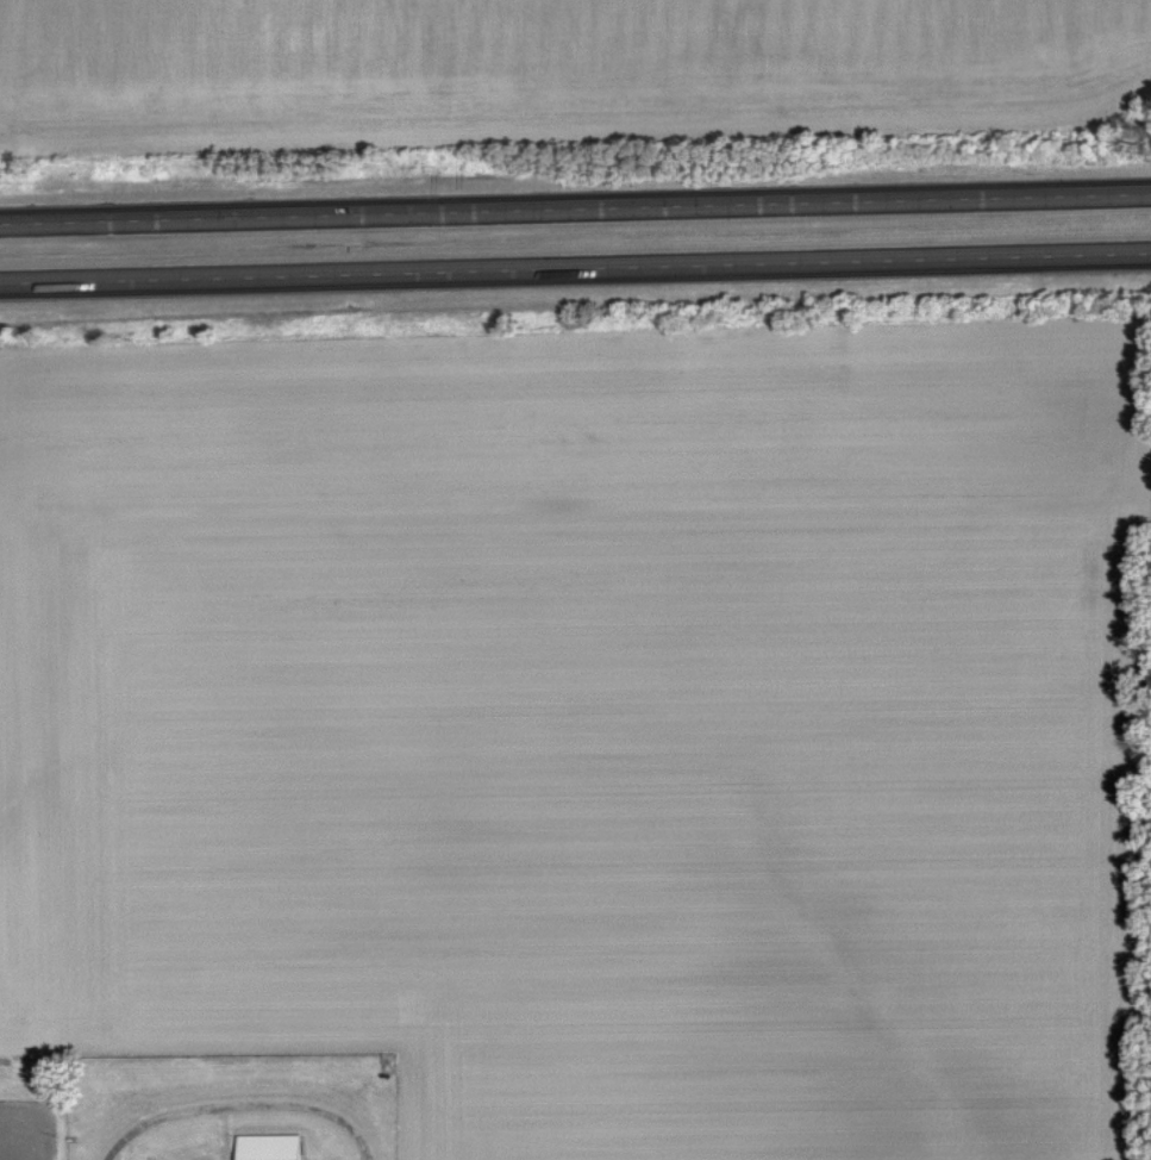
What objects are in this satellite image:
road: (575, 208)
road: (575, 269)
road: (245, 1105)
building: (271, 1147)

